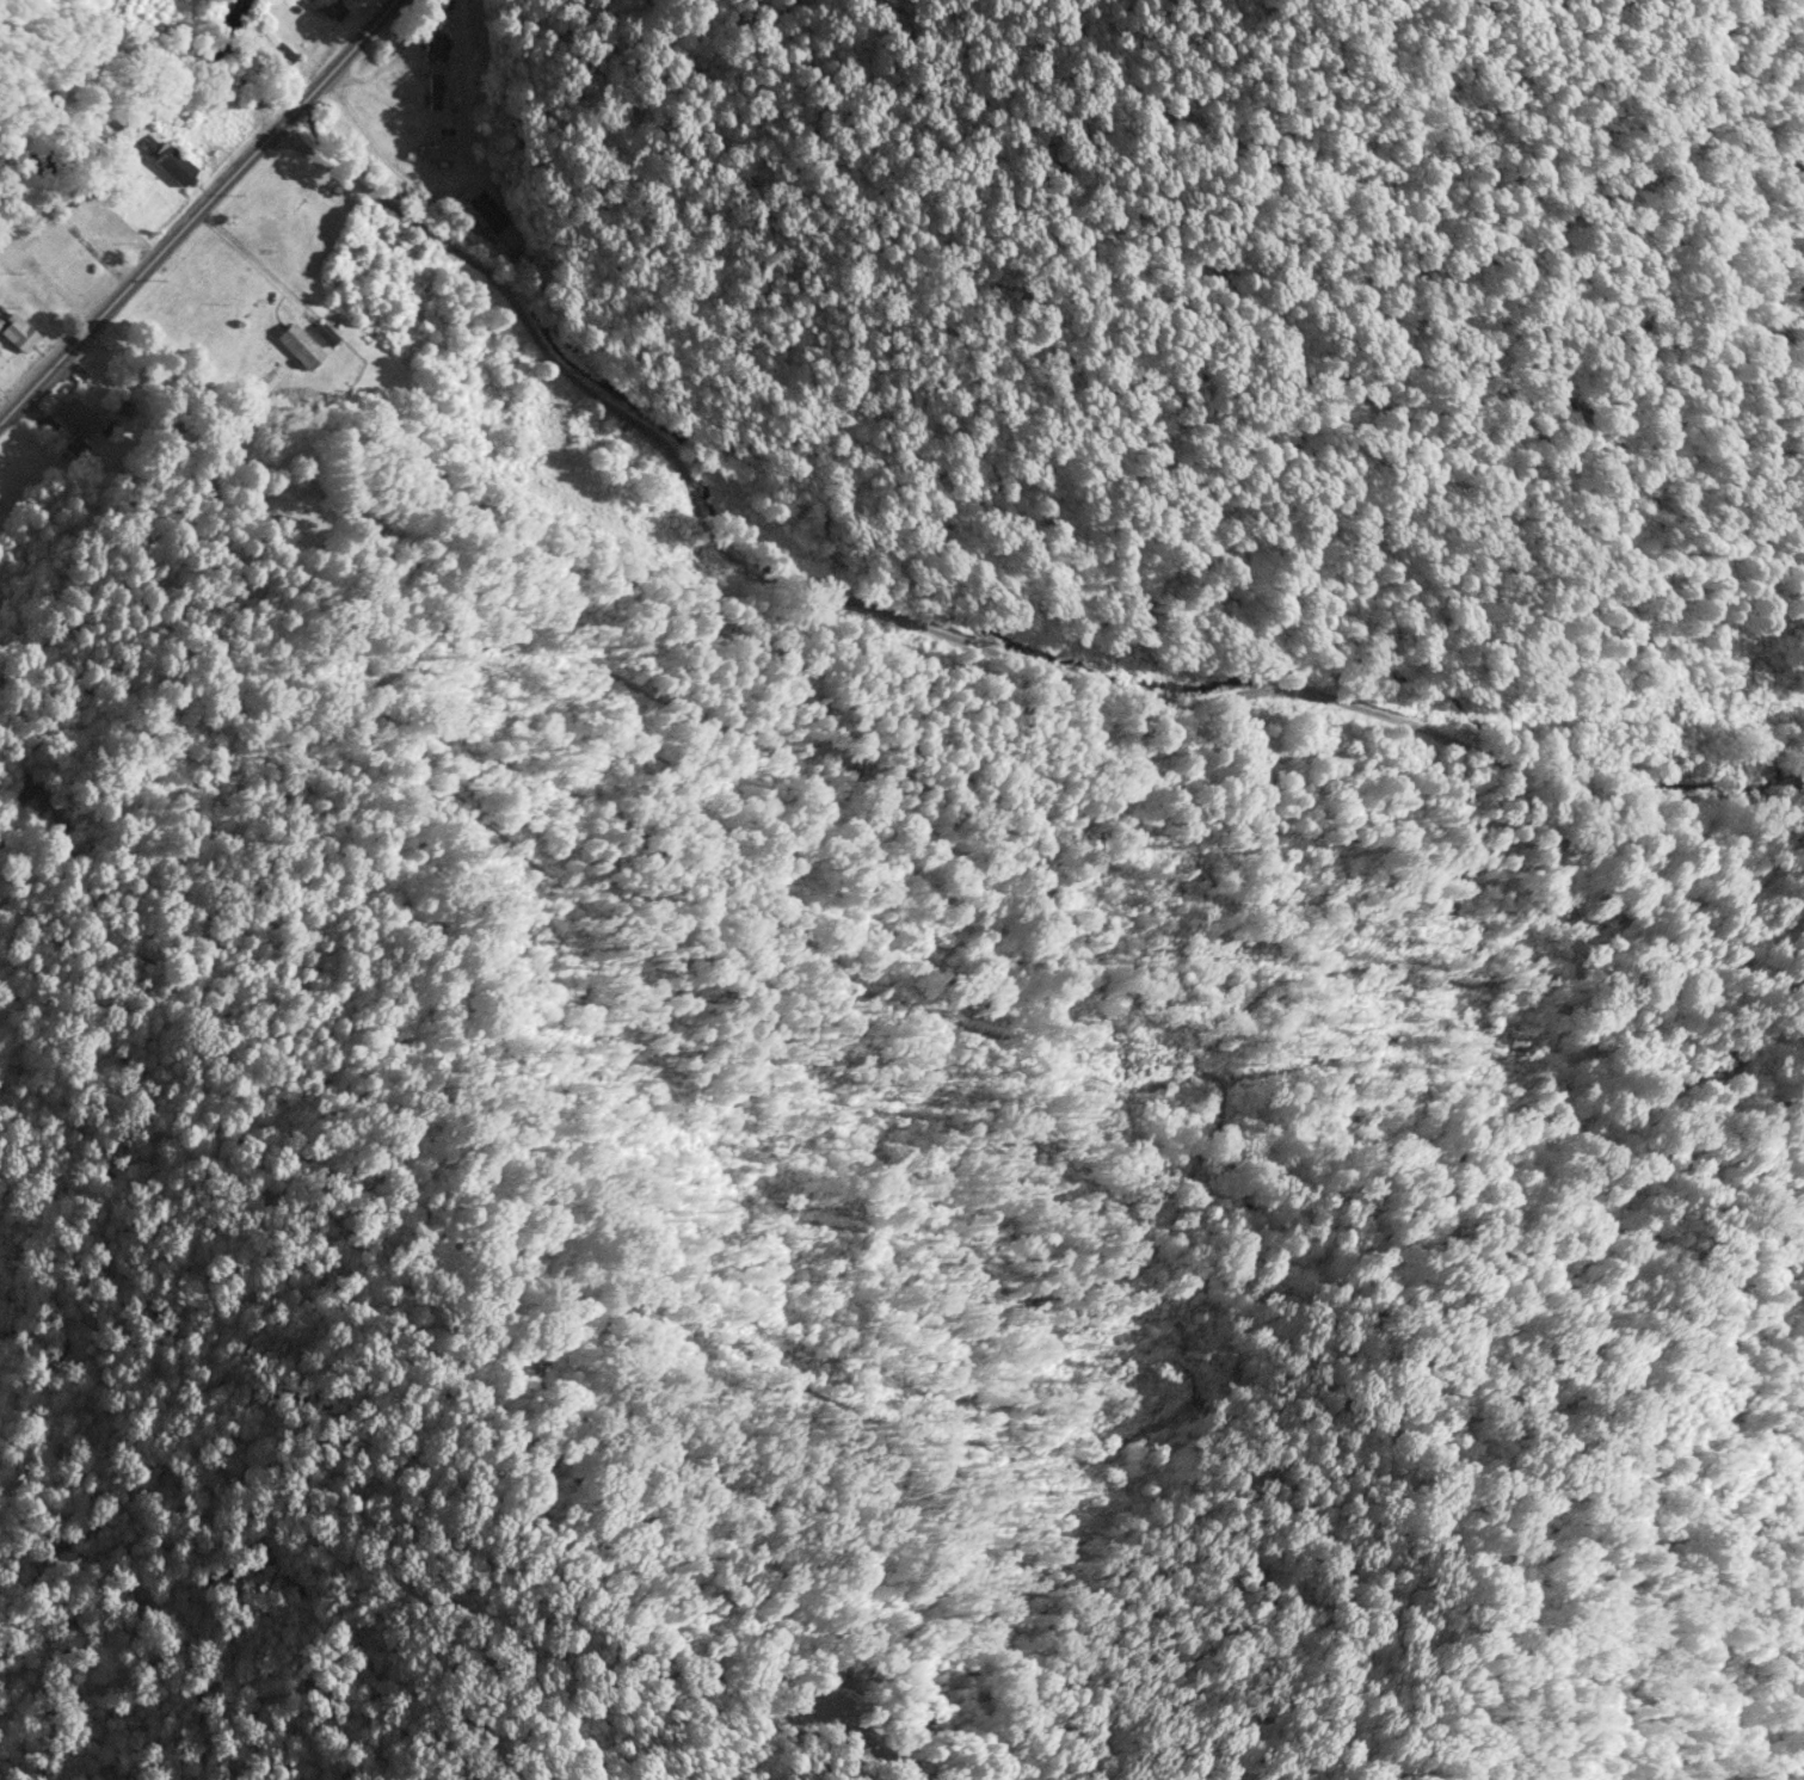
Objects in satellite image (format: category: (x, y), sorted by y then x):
building: (326, 8)
building: (433, 49)
building: (433, 92)
building: (438, 154)
building: (170, 165)
road: (196, 211)
building: (488, 211)
building: (98, 236)
building: (17, 334)
building: (301, 347)
building: (79, 419)

